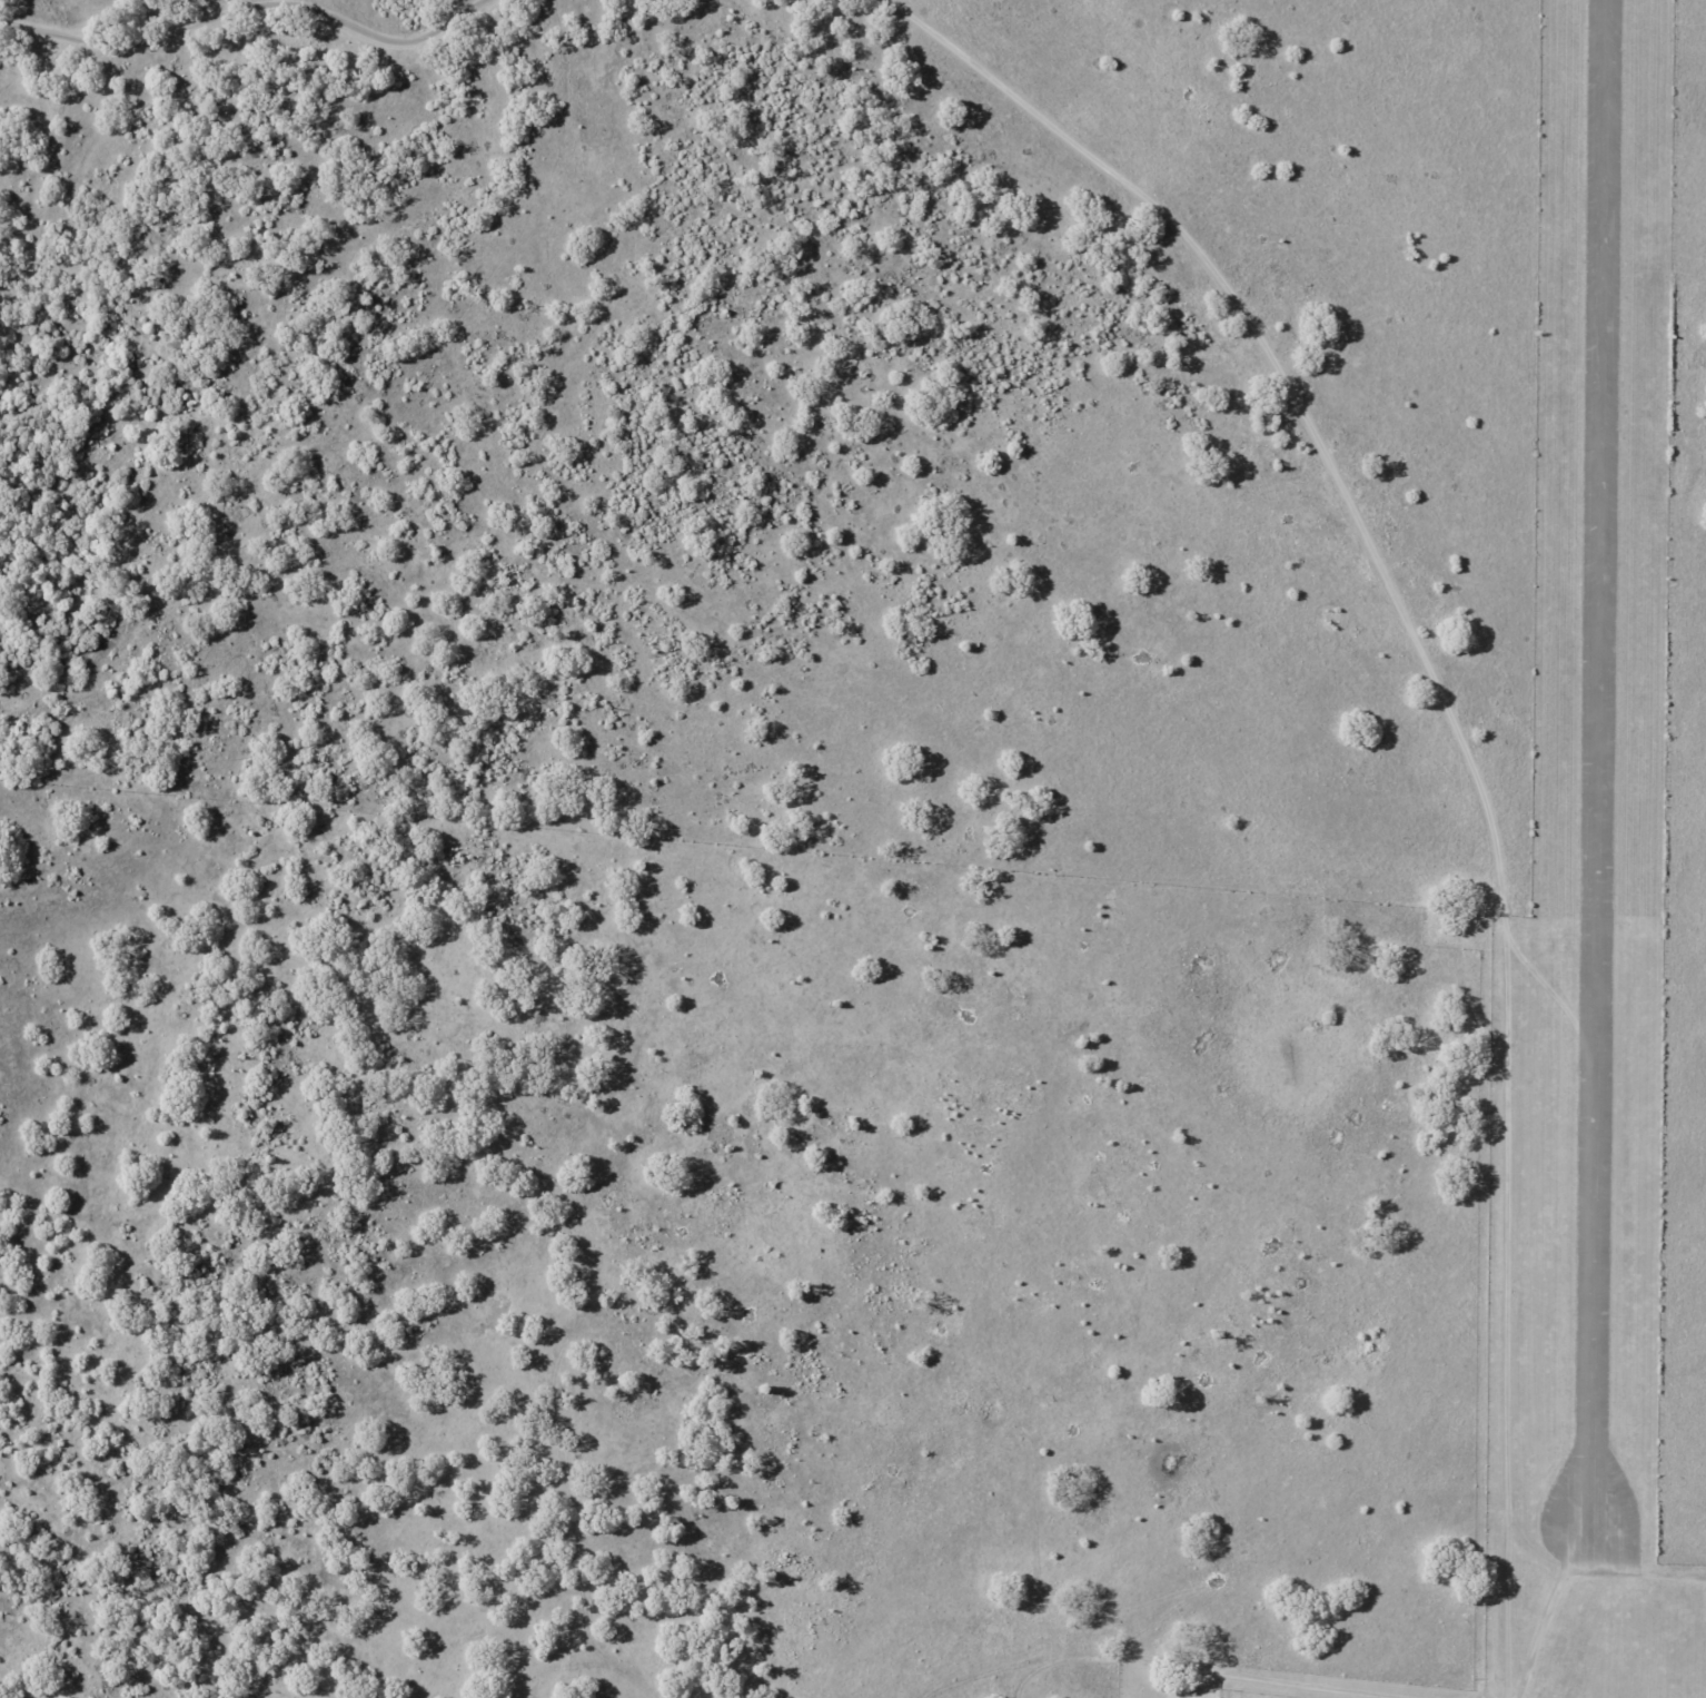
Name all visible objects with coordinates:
airport runway: (1594, 777)
road: (1568, 1572)
road: (1276, 1680)
building: (1191, 1690)

